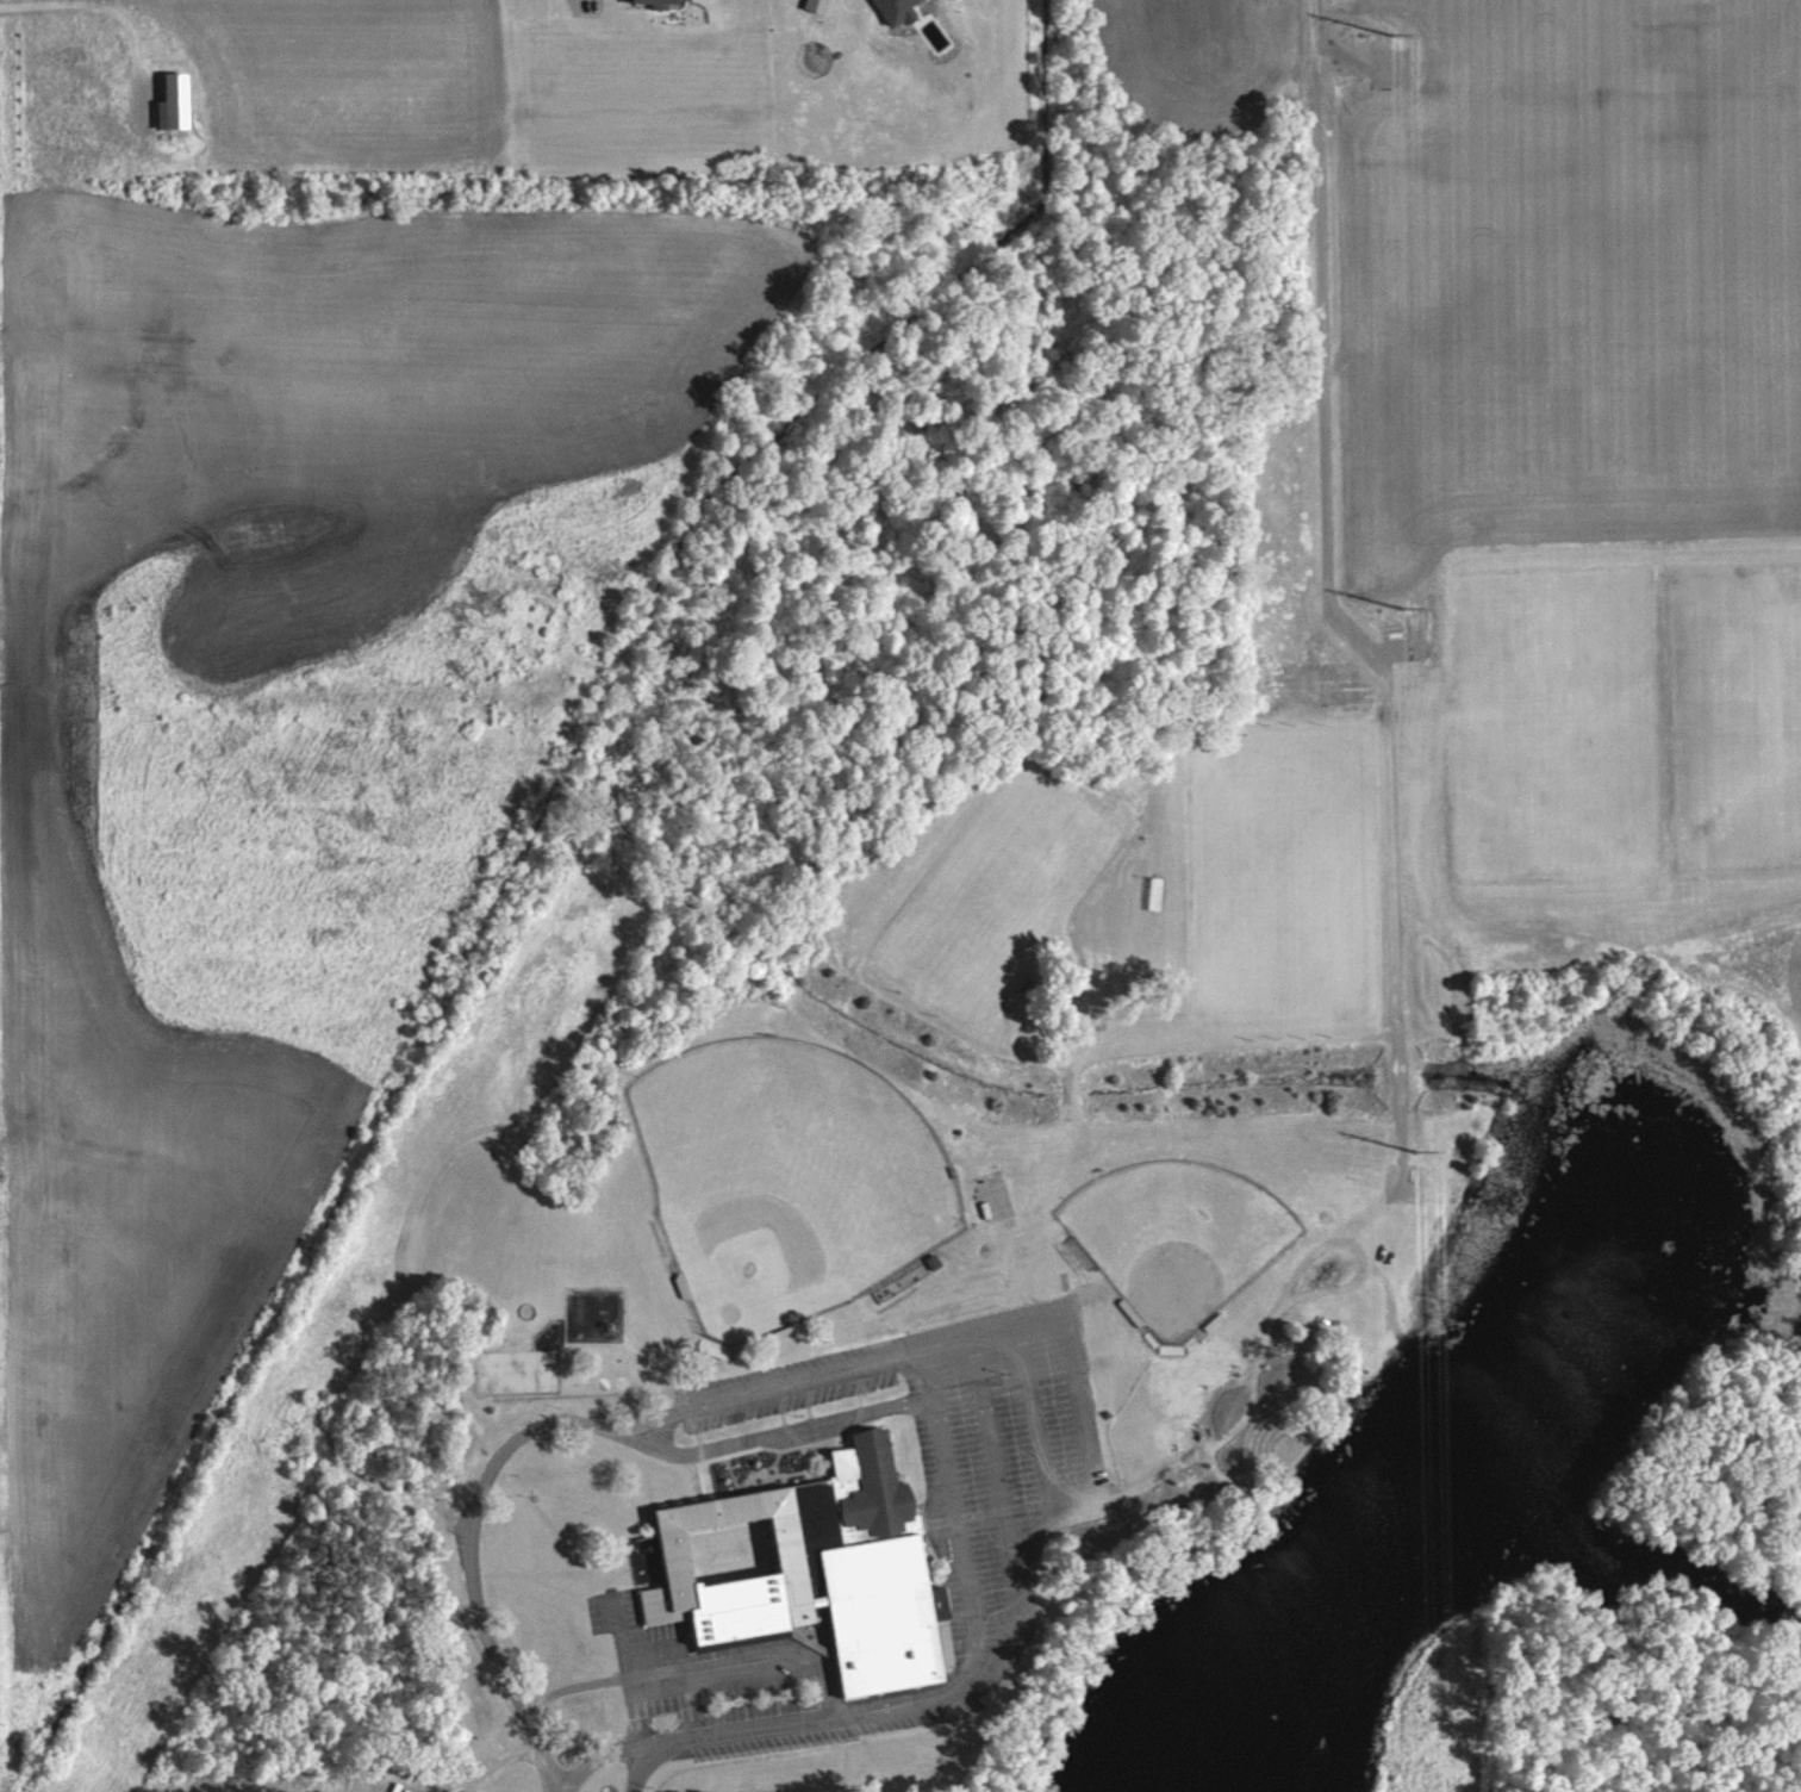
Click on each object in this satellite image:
building: (659, 1)
road: (98, 5)
power tower: (1389, 33)
power tower: (1402, 609)
power tower: (1414, 1151)
road: (930, 1371)
road: (916, 1394)
road: (725, 1399)
building: (765, 1467)
building: (811, 1570)
road: (694, 1659)
road: (822, 1717)
road: (600, 1759)
road: (641, 1768)

